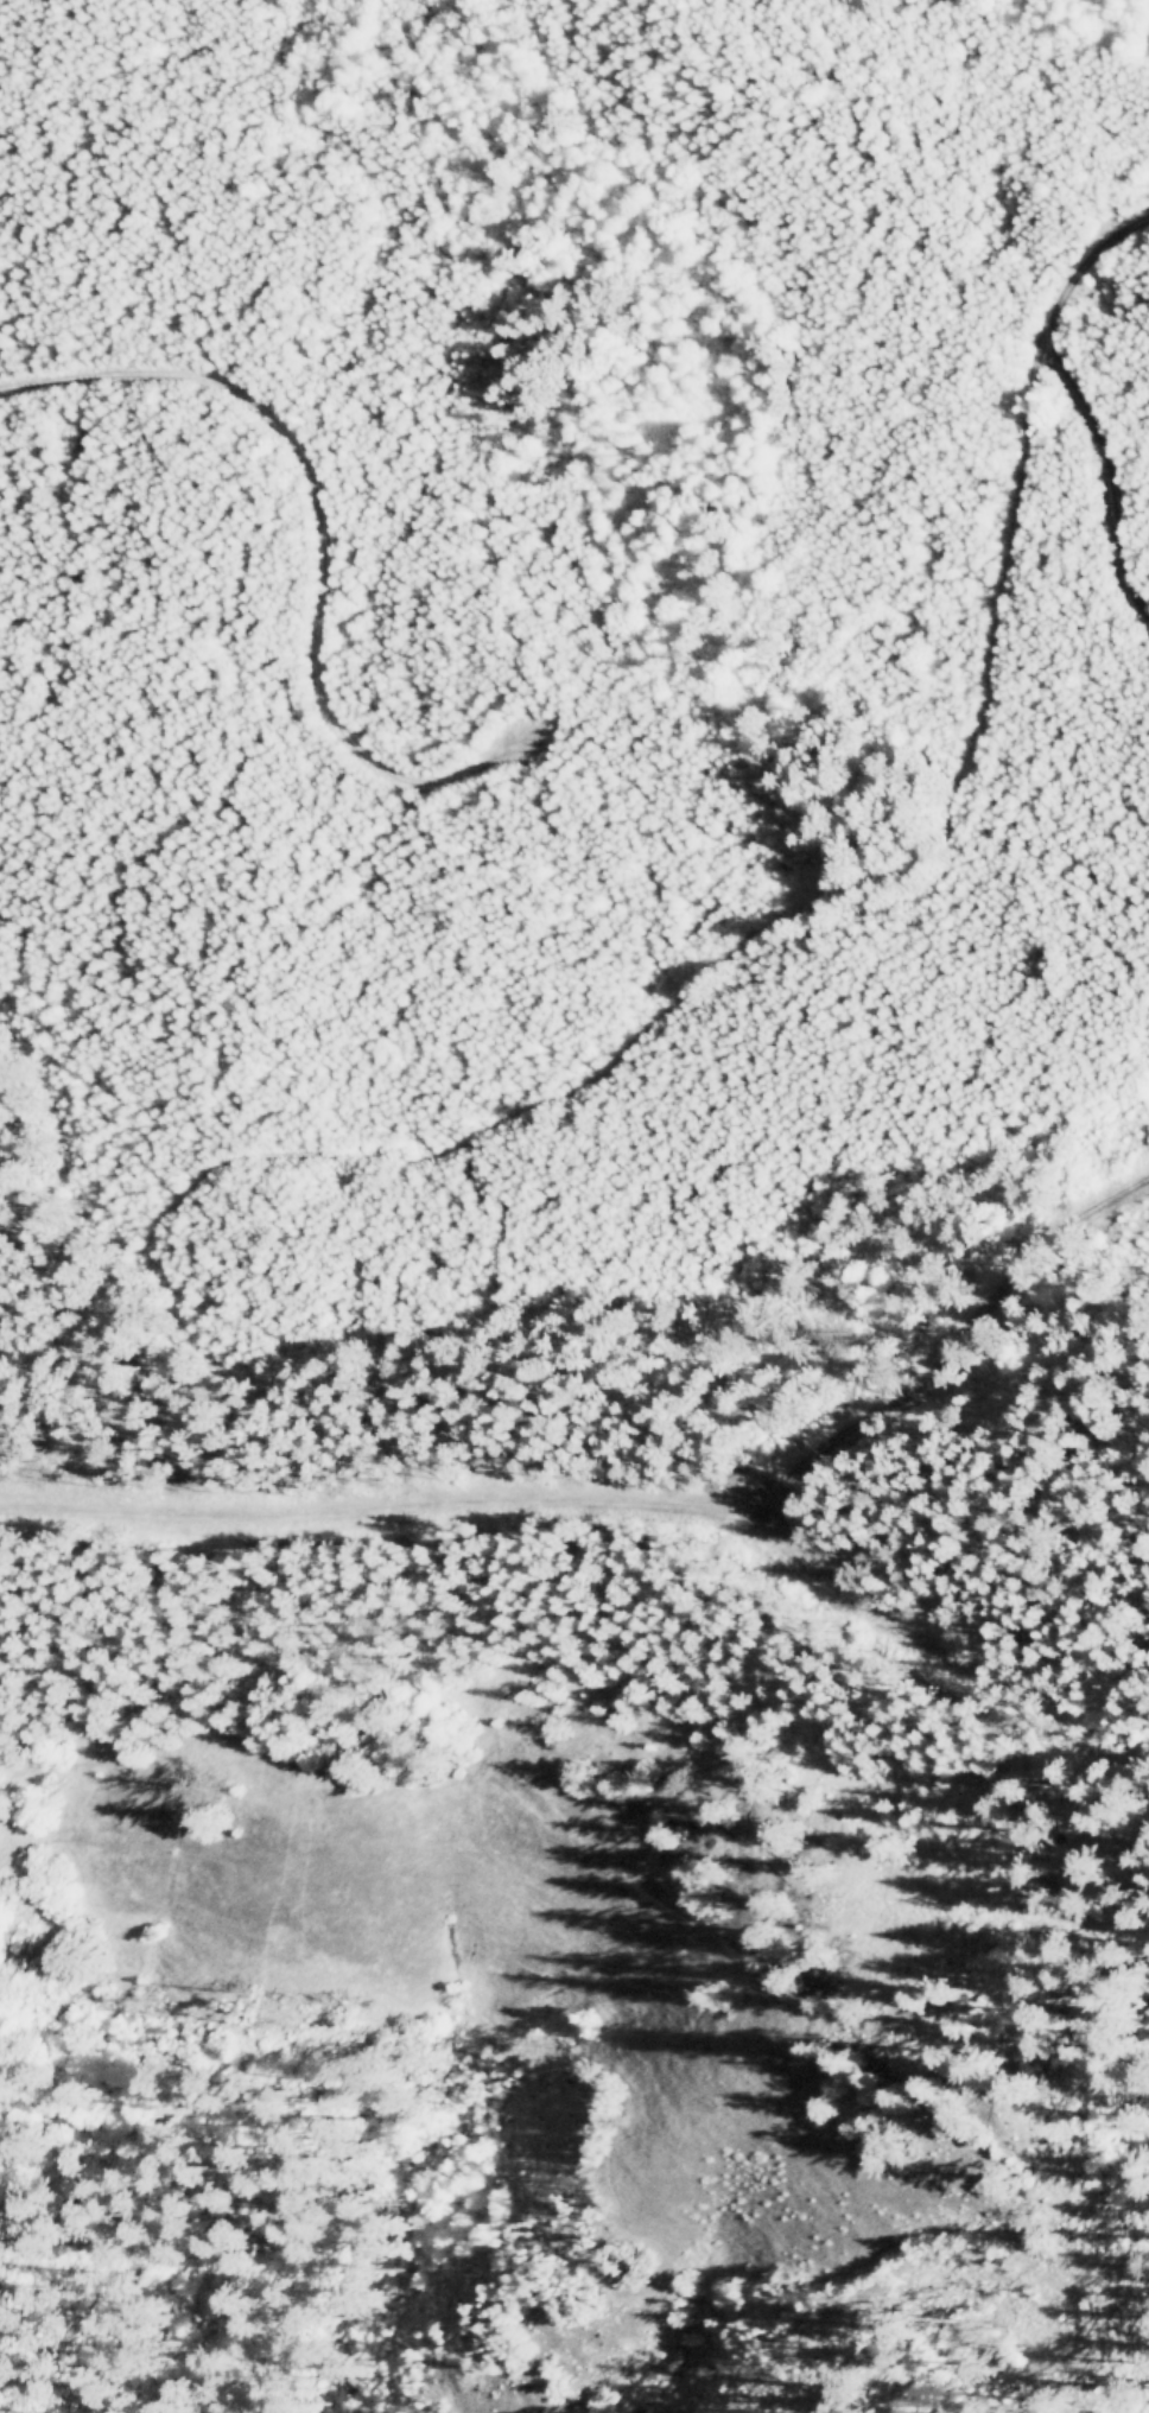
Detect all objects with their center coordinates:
road: (1105, 482)
road: (712, 679)
road: (741, 939)
road: (503, 1561)
road: (1068, 1704)

